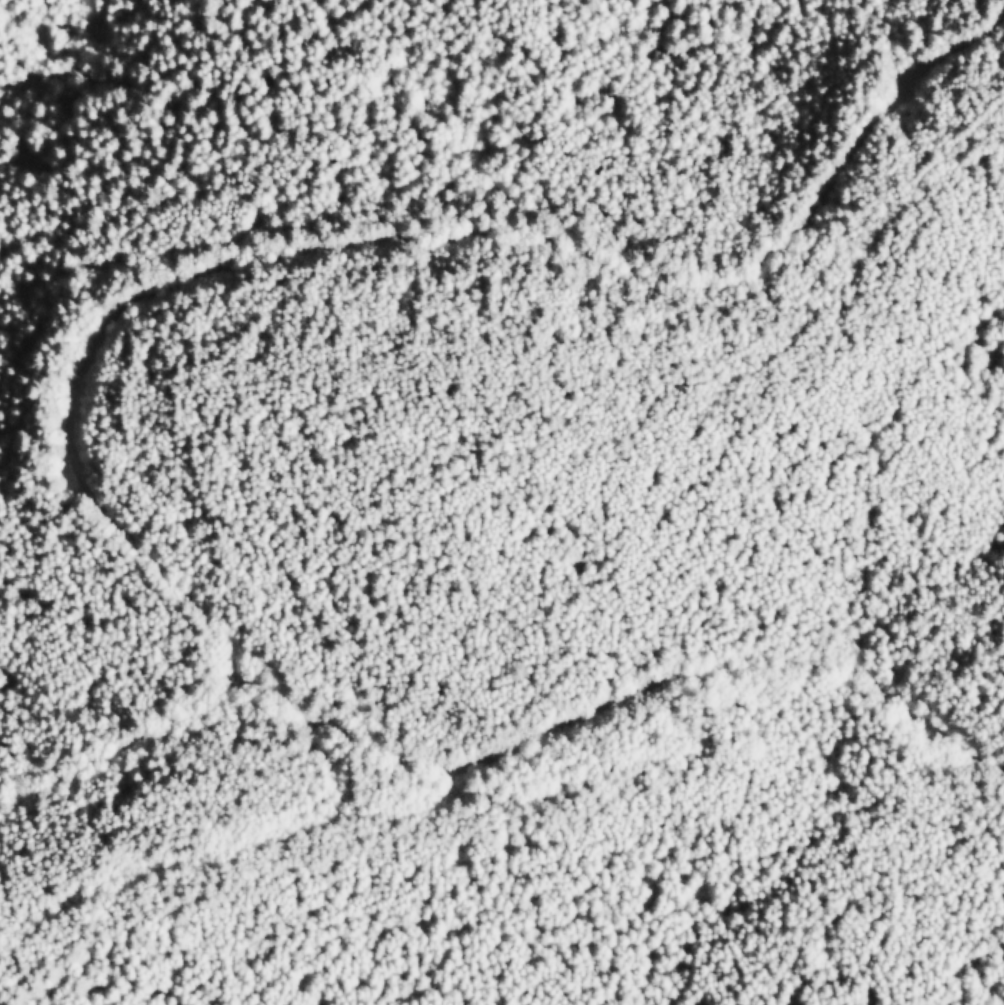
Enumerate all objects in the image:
road: (415, 243)
road: (614, 707)
road: (132, 740)
road: (413, 812)
road: (218, 854)

